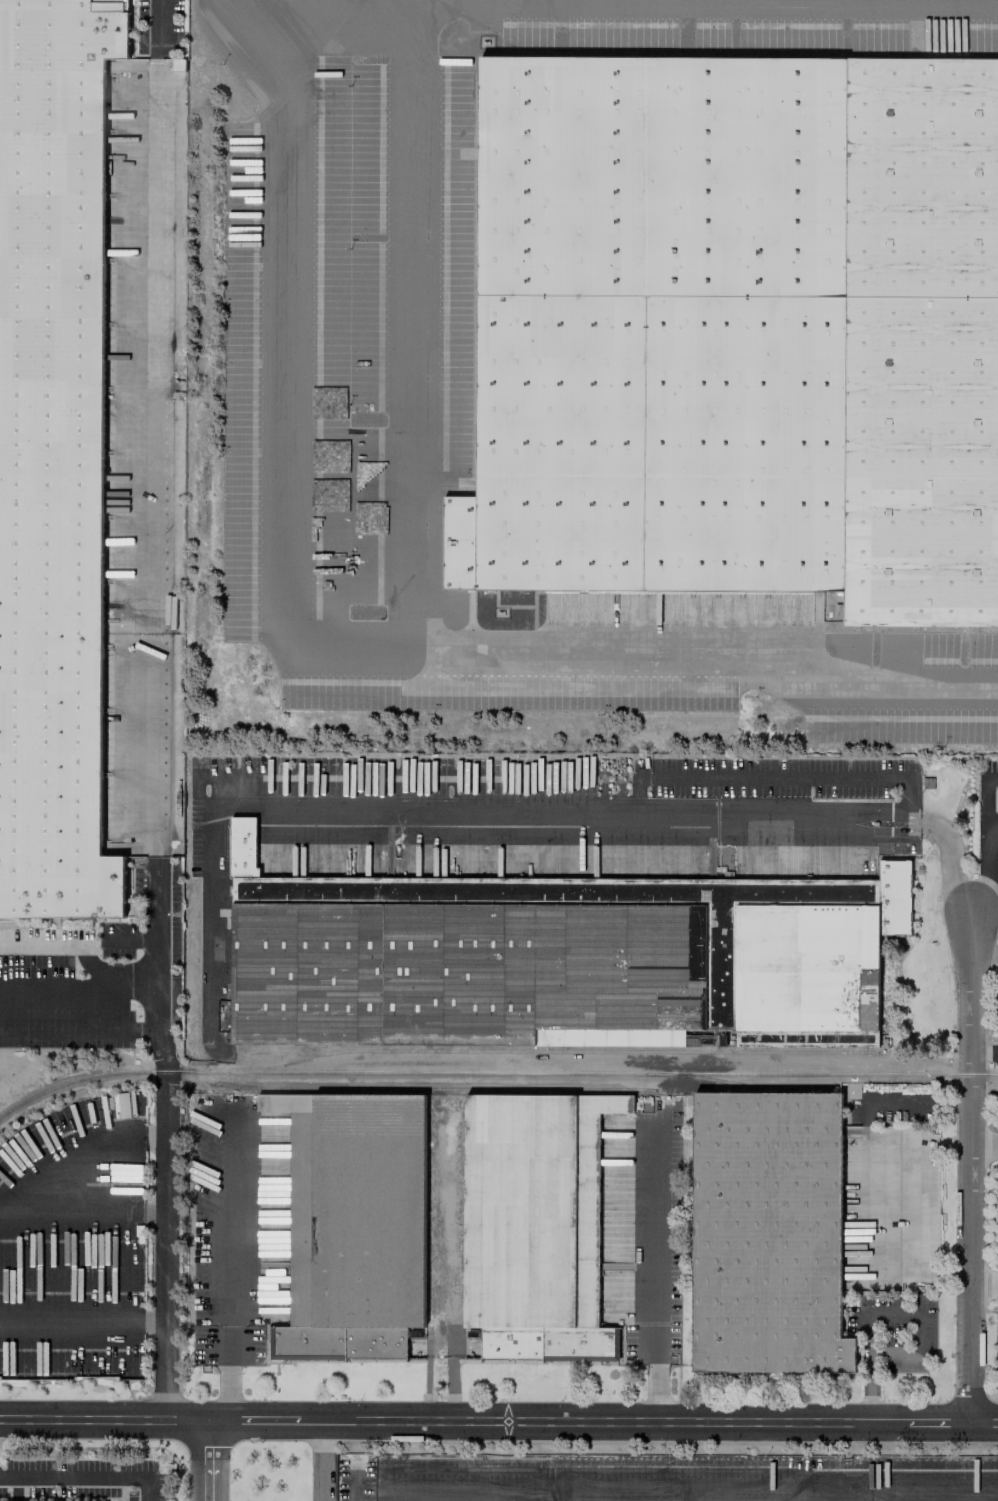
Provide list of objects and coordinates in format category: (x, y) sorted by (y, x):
road: (334, 11)
road: (158, 25)
road: (409, 328)
building: (738, 331)
building: (53, 456)
road: (306, 653)
road: (636, 811)
road: (992, 821)
road: (986, 846)
building: (559, 958)
railway: (547, 1050)
road: (985, 1051)
railway: (493, 1072)
railway: (745, 1084)
railway: (435, 1088)
road: (159, 1126)
road: (972, 1173)
building: (354, 1225)
building: (534, 1226)
building: (768, 1233)
road: (226, 1273)
road: (657, 1274)
road: (882, 1310)
road: (499, 1421)
road: (206, 1460)
road: (321, 1460)
road: (84, 1477)
road: (602, 1495)

